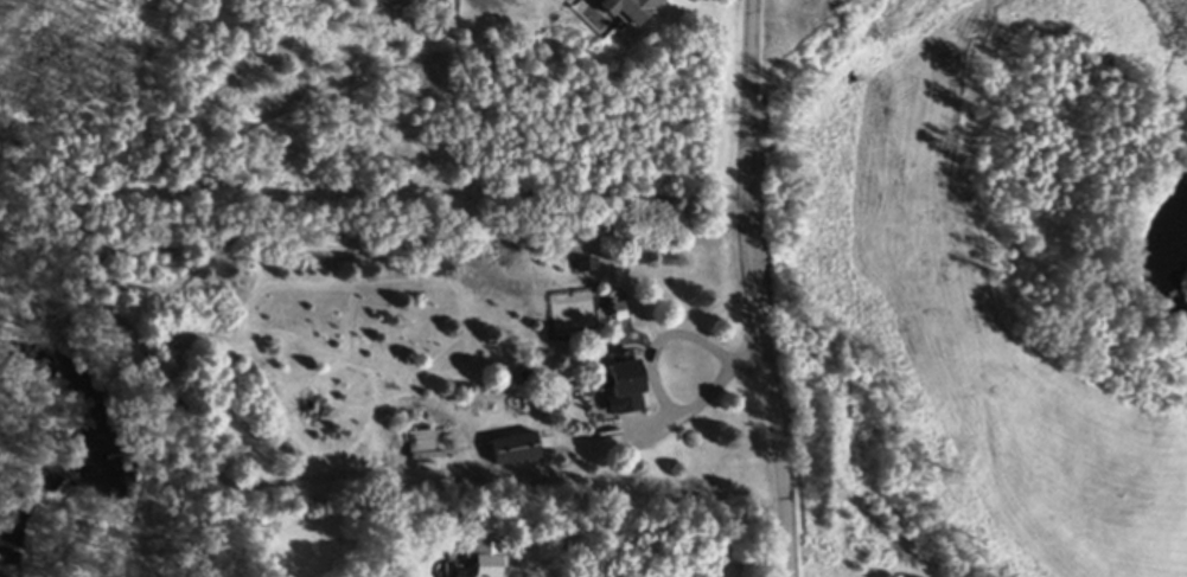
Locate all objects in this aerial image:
building: (625, 11)
river: (1173, 278)
road: (749, 289)
building: (617, 390)
building: (415, 442)
building: (511, 450)
river: (91, 457)
building: (481, 556)

